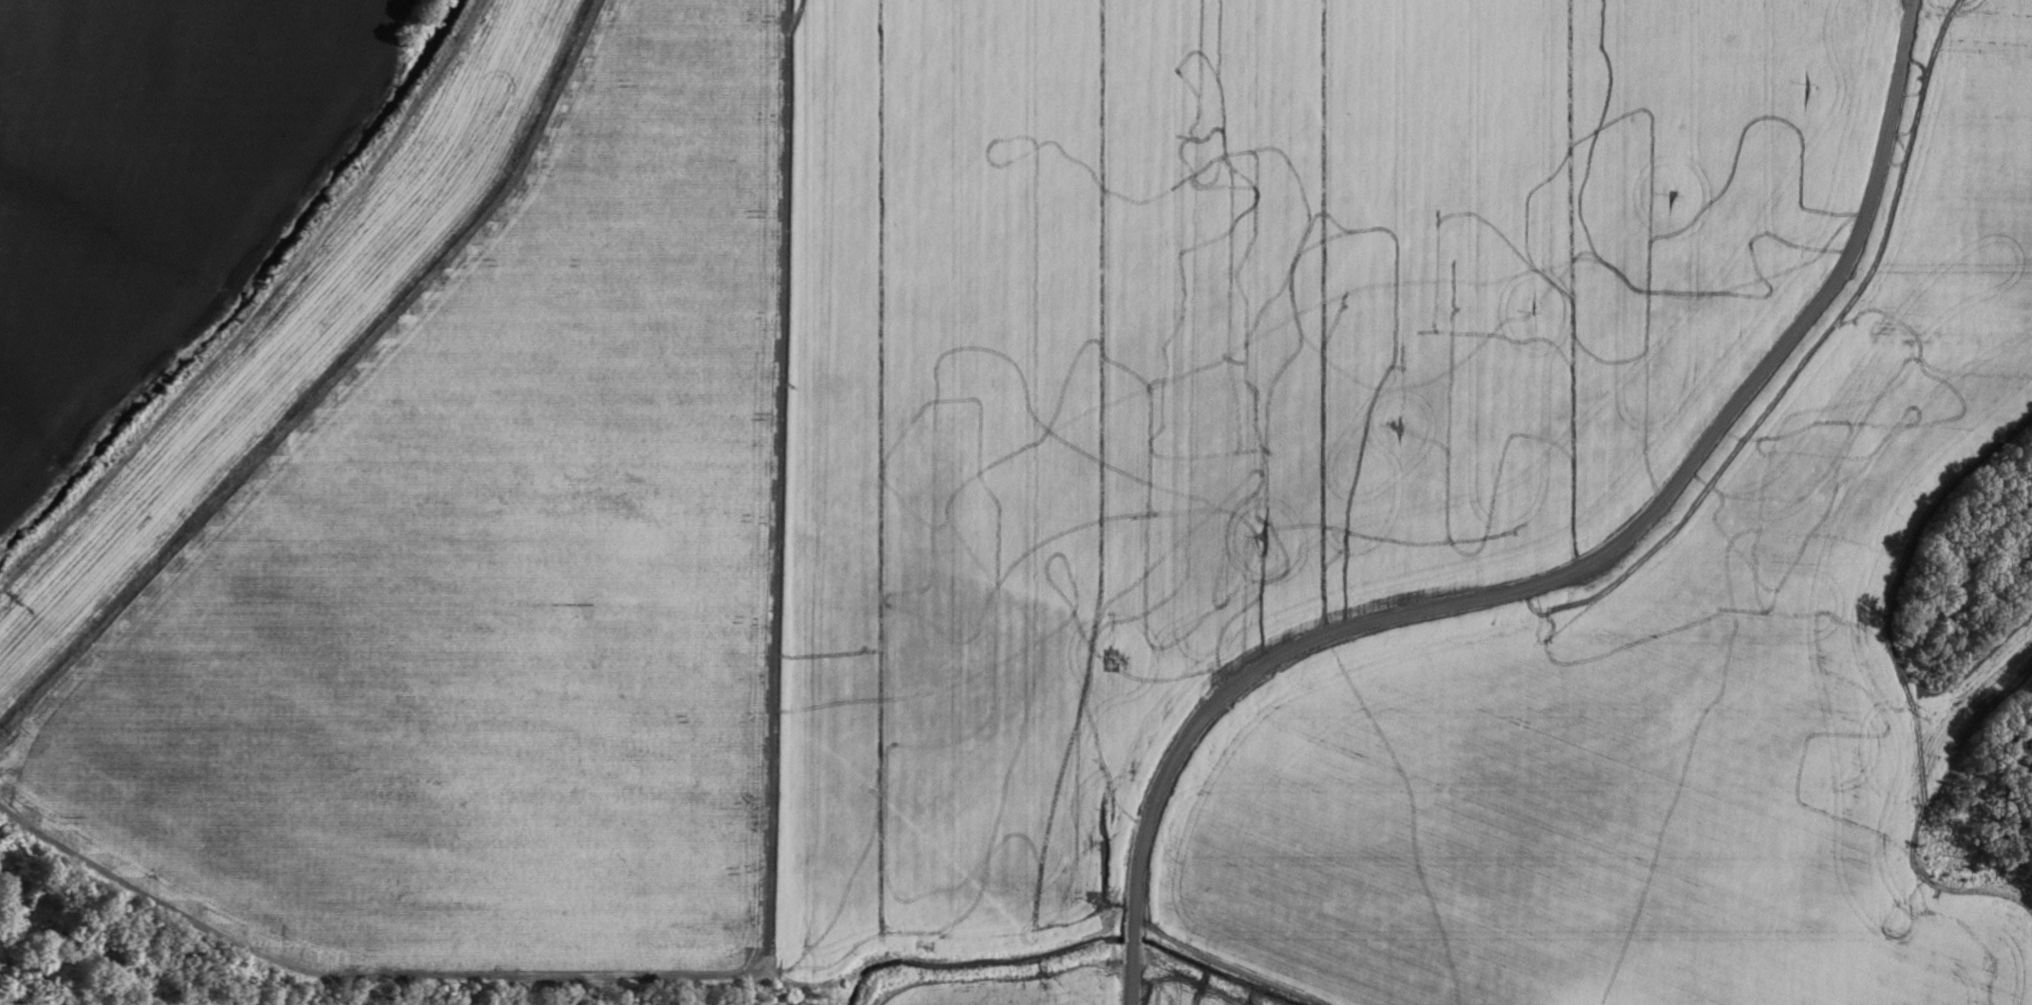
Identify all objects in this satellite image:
road: (1563, 570)

